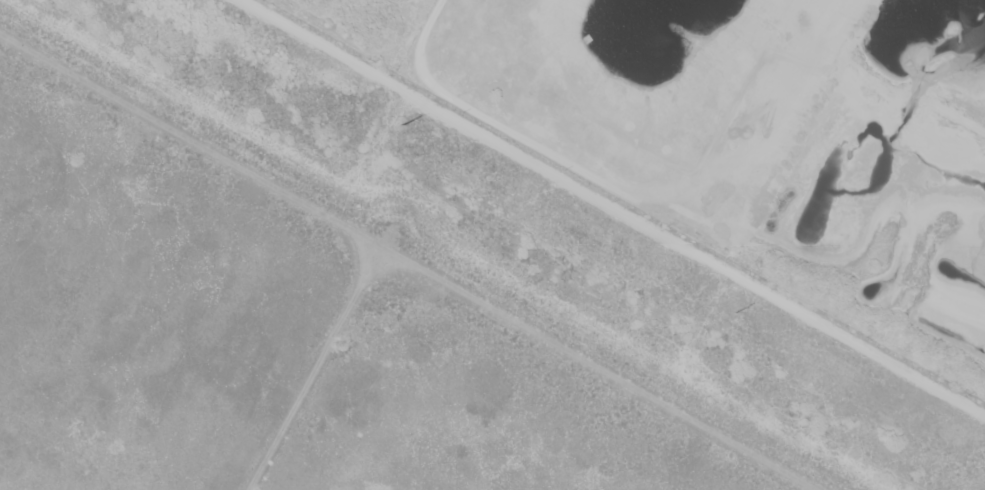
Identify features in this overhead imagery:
road: (614, 206)
road: (409, 260)
power plant: (384, 292)
road: (314, 367)

